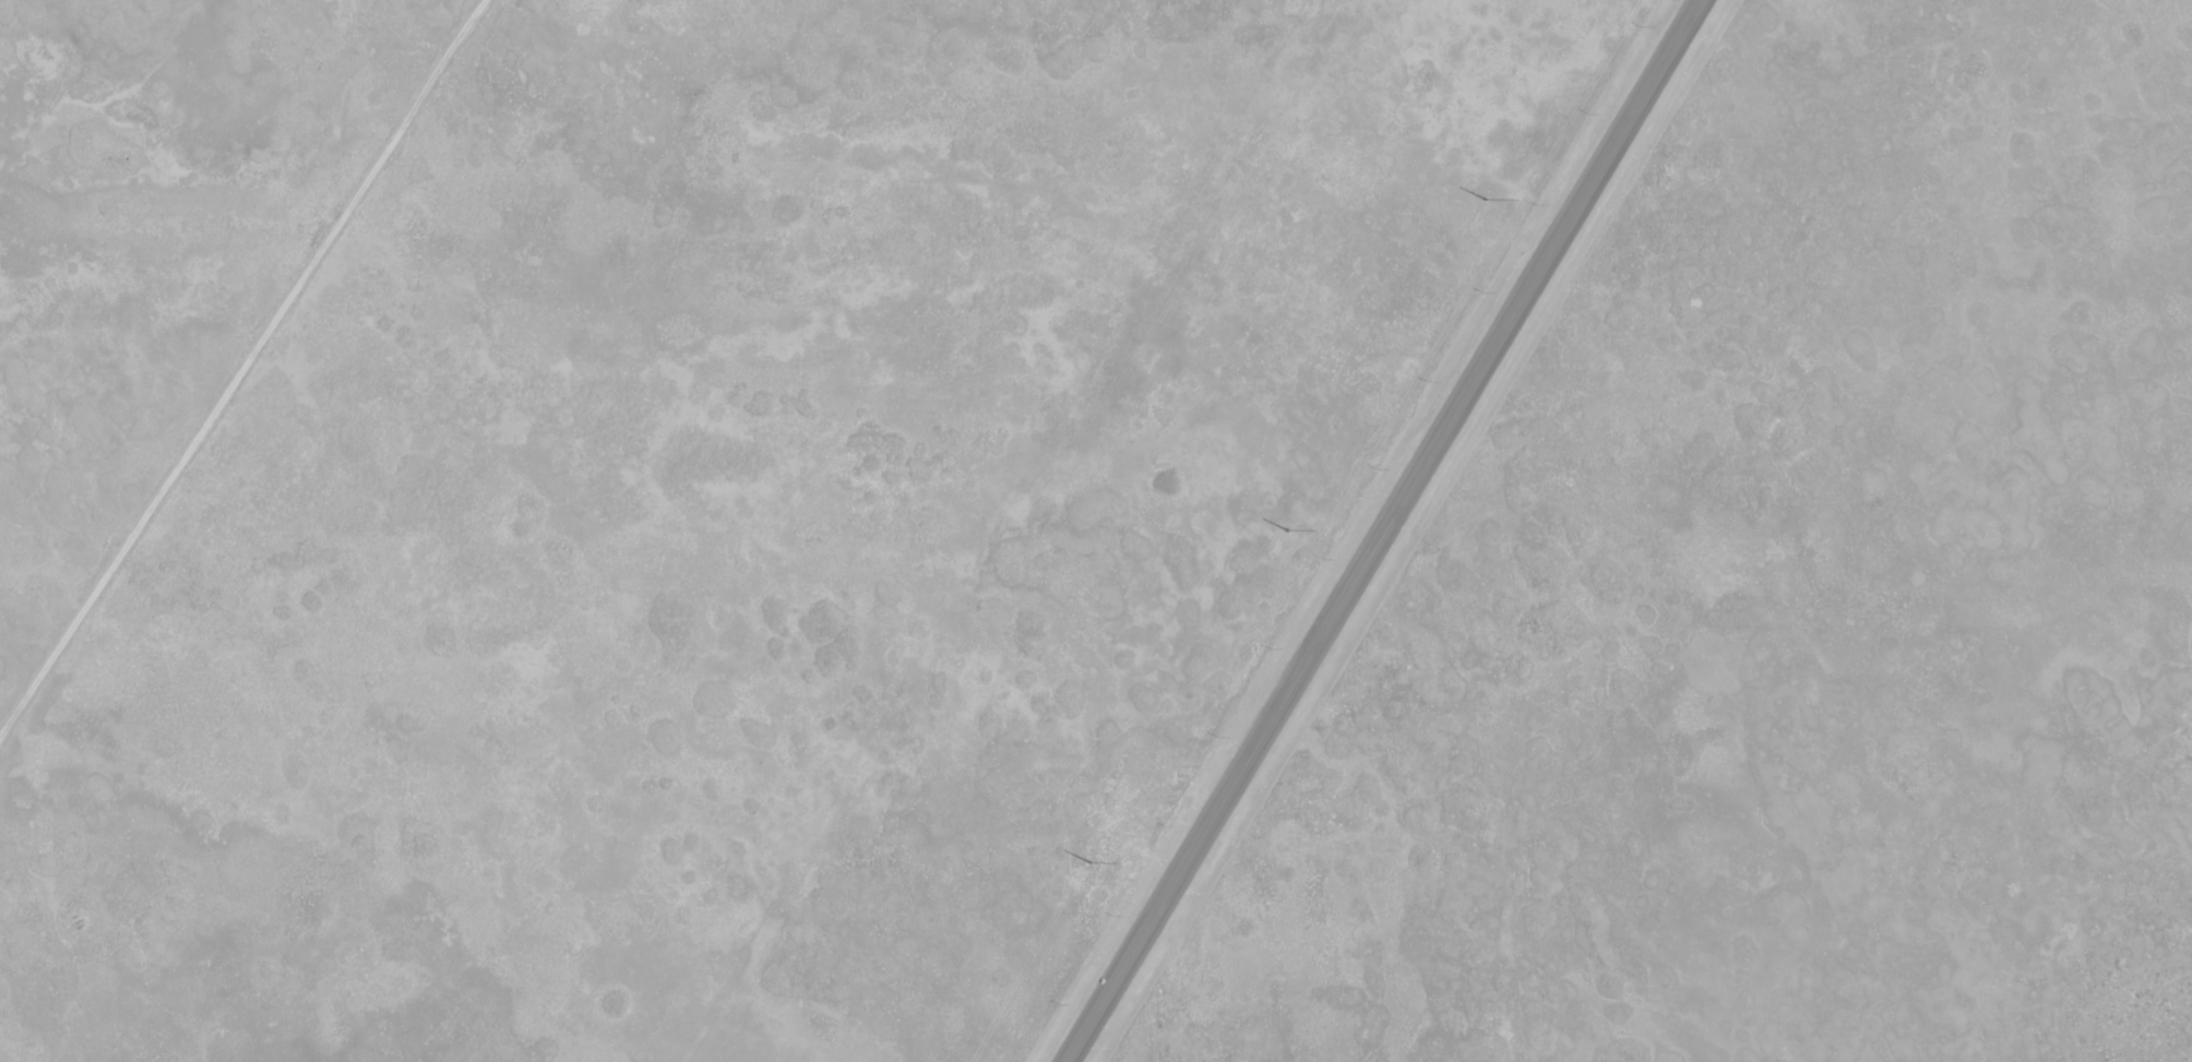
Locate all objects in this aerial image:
power tower: (1486, 203)
park: (683, 489)
road: (1391, 530)
power tower: (1286, 534)
park: (1789, 604)
power tower: (1089, 866)

